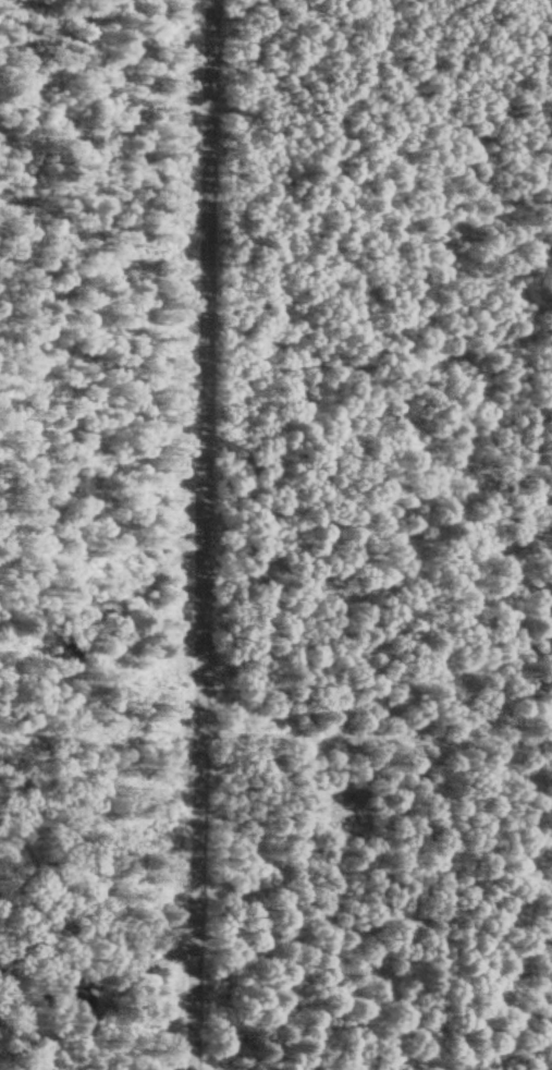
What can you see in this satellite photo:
road: (205, 535)

